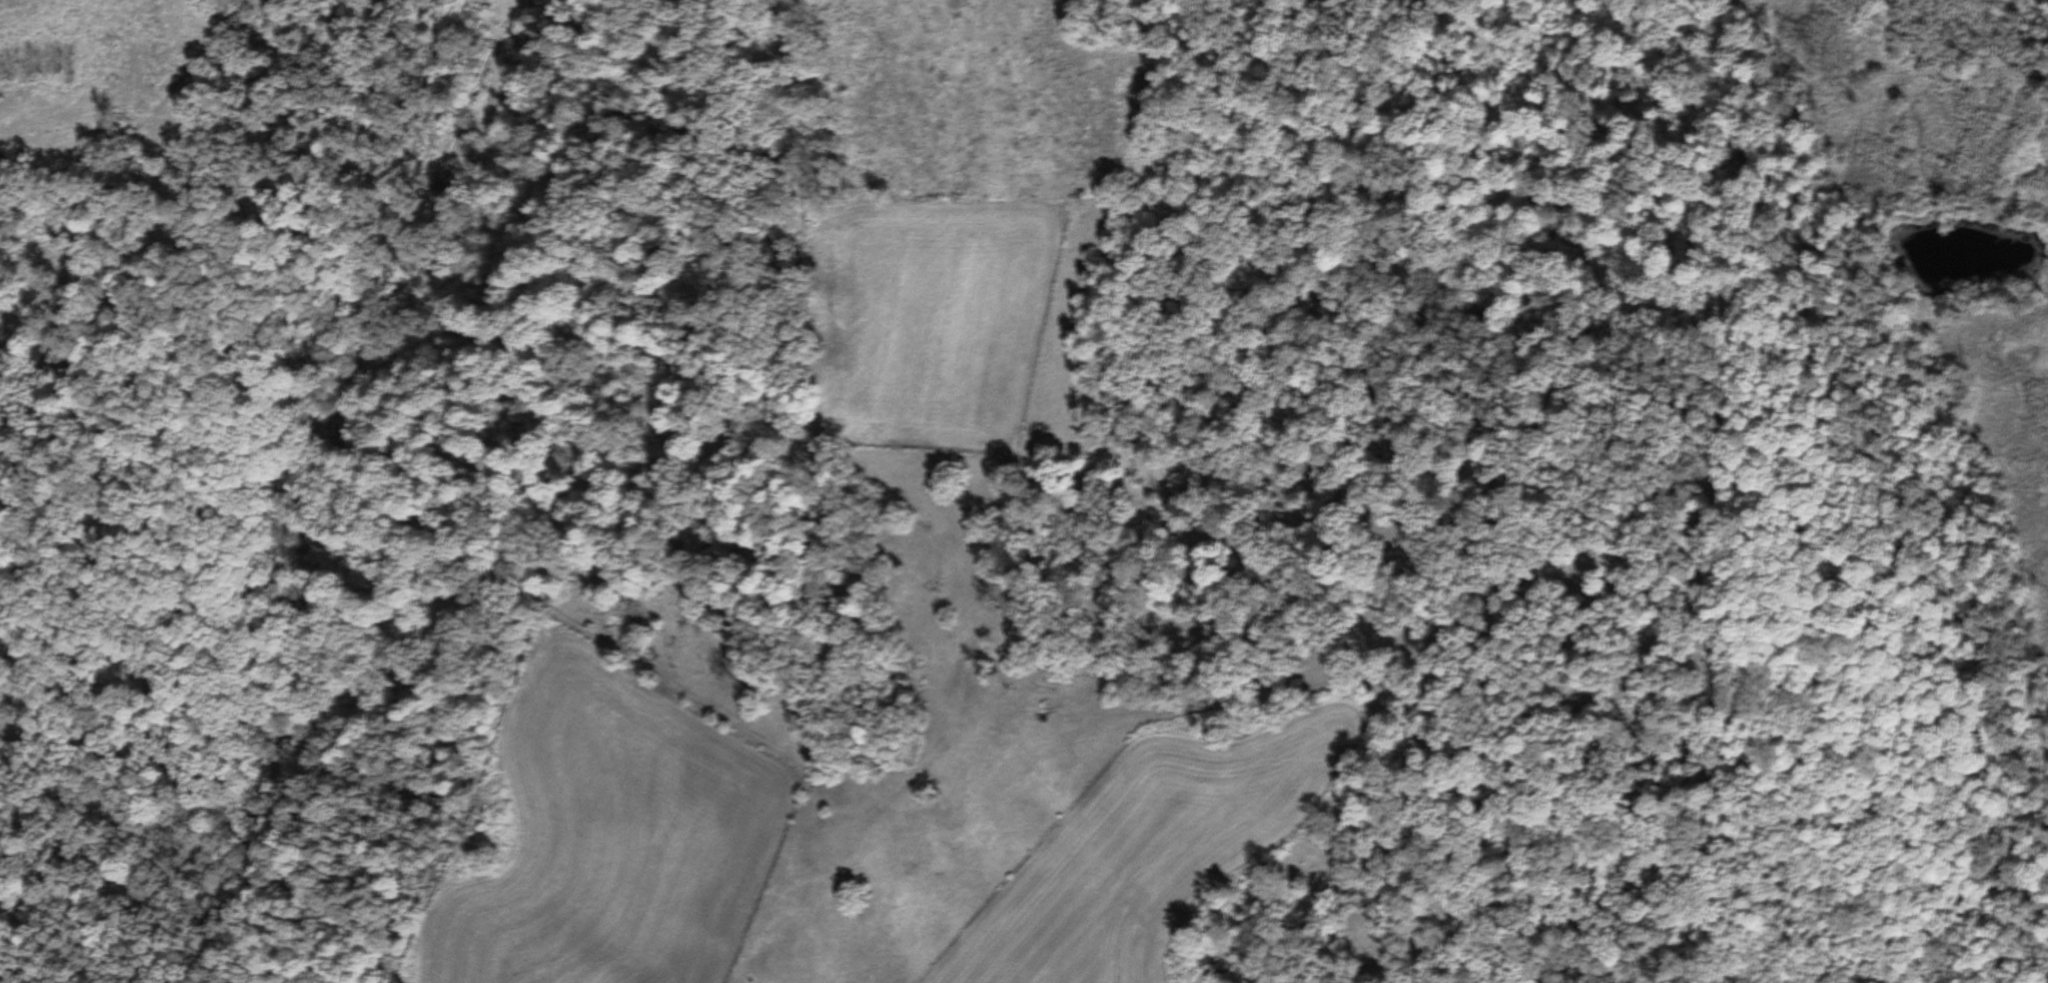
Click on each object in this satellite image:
quarry: (2036, 16)

